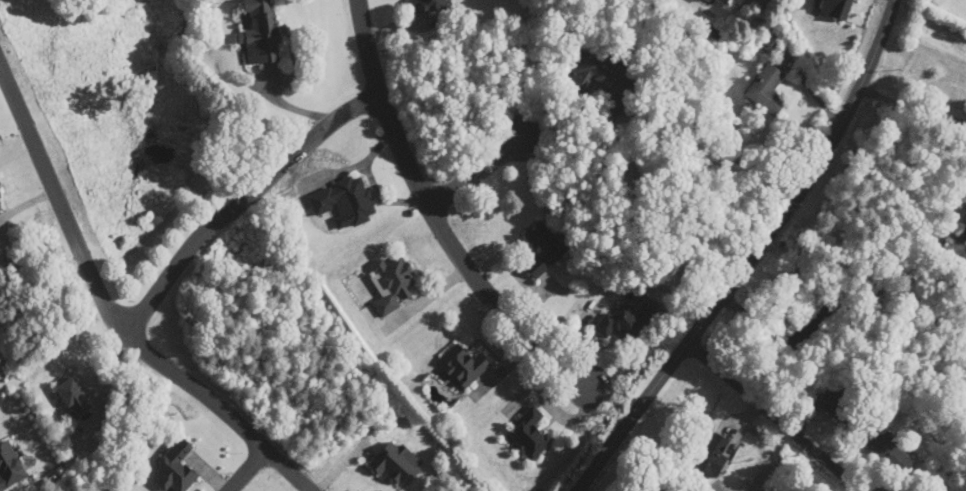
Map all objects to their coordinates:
building: (724, 1)
building: (431, 5)
building: (837, 7)
building: (261, 33)
building: (598, 75)
building: (768, 91)
road: (476, 169)
building: (345, 202)
road: (244, 204)
road: (436, 217)
building: (543, 249)
road: (748, 255)
building: (394, 284)
road: (110, 311)
building: (814, 321)
building: (626, 323)
building: (464, 364)
building: (75, 396)
building: (838, 408)
road: (776, 414)
building: (531, 433)
building: (885, 446)
building: (713, 455)
building: (175, 468)
road: (246, 470)
building: (945, 490)

